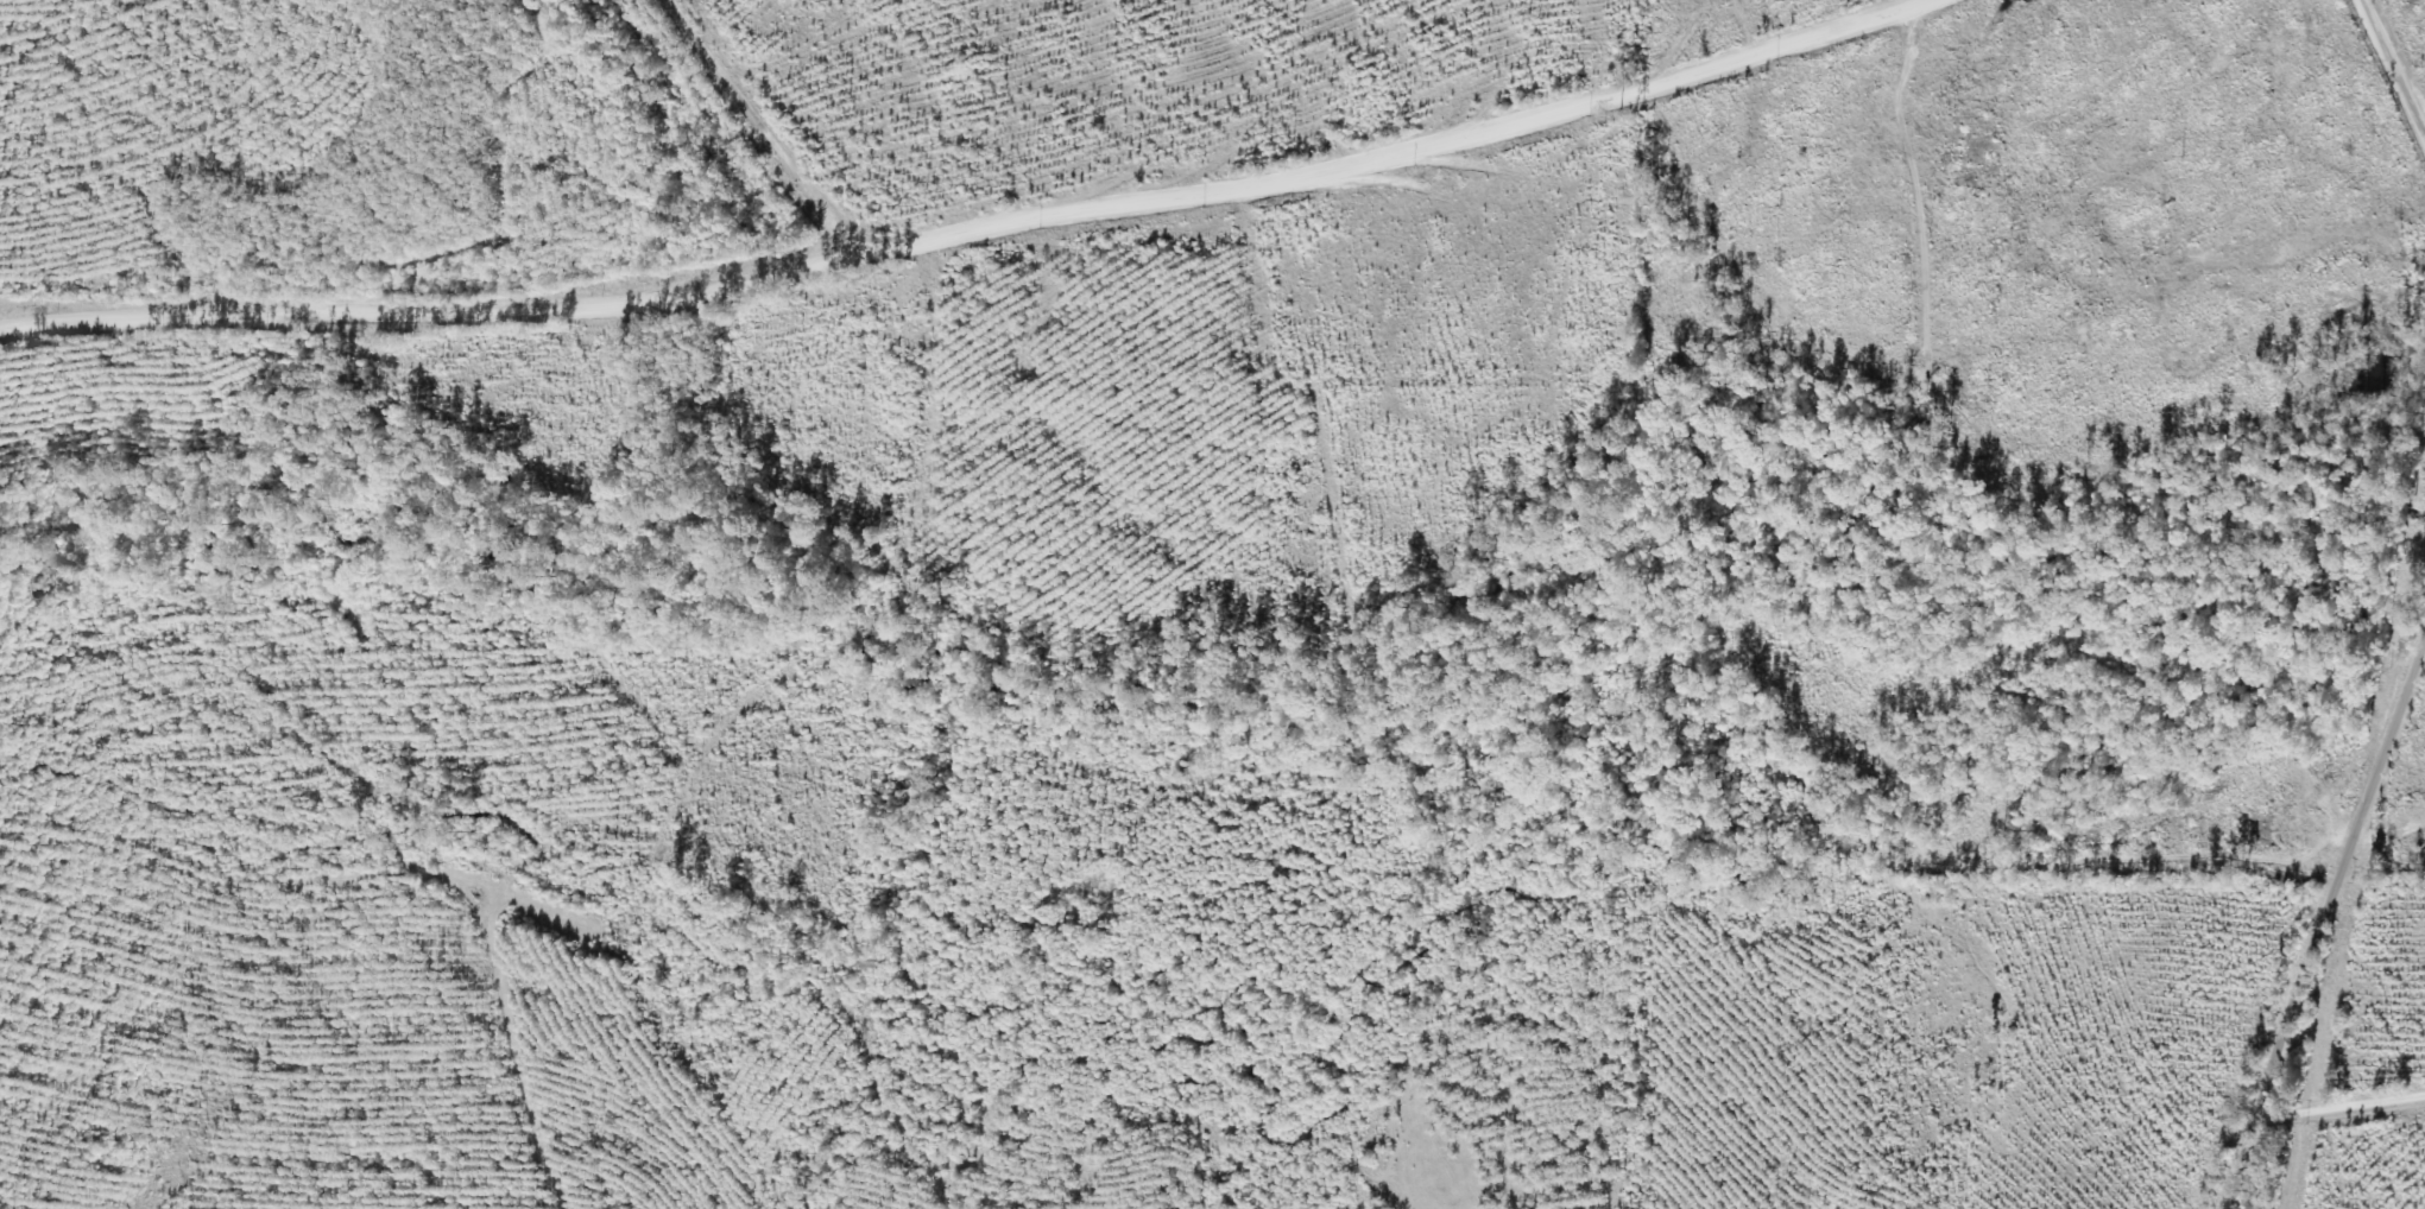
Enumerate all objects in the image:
road: (1063, 95)
road: (228, 157)
road: (930, 228)
road: (2358, 600)
road: (2320, 1095)

